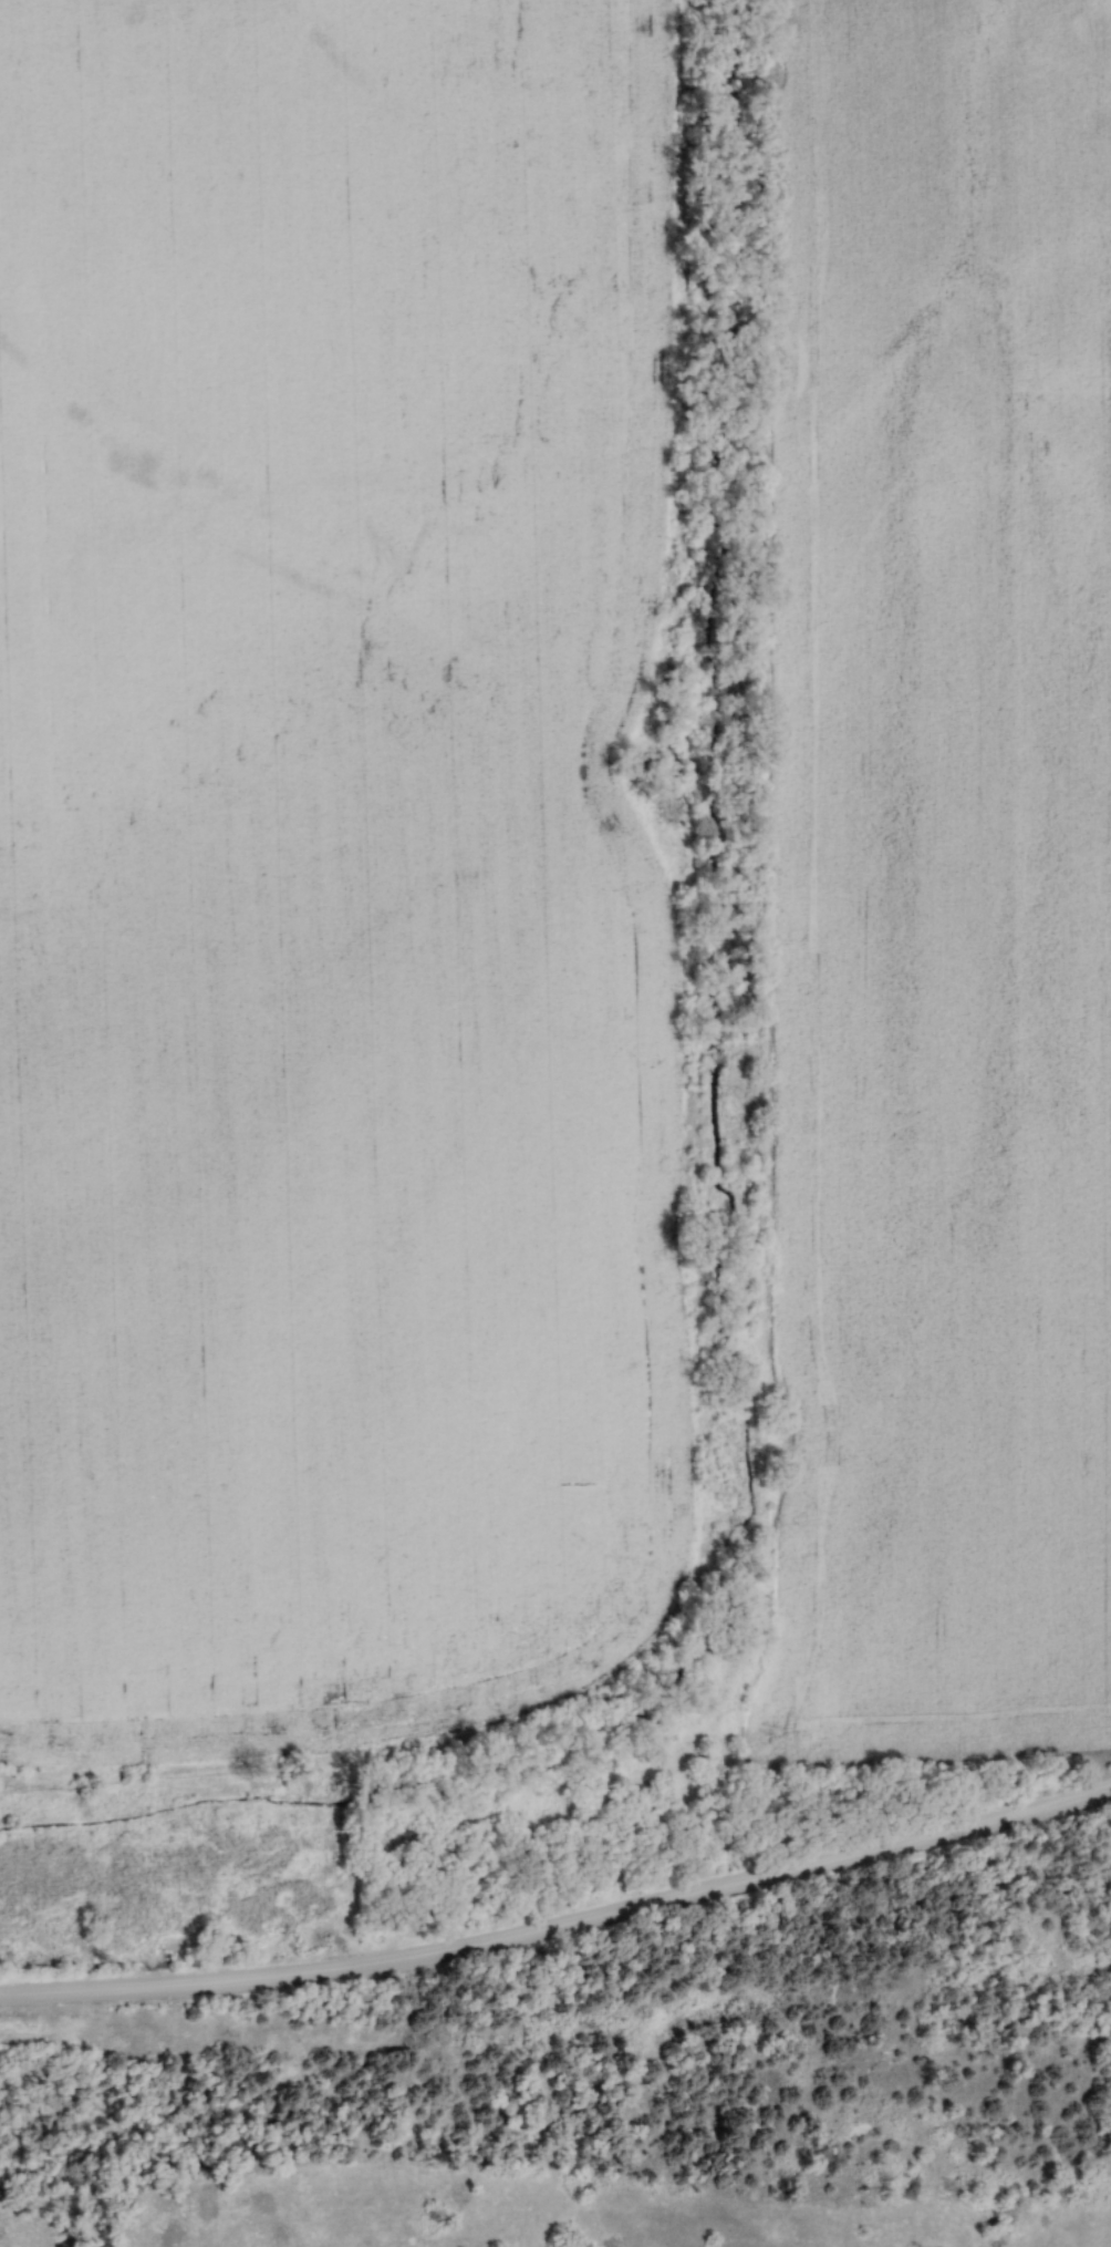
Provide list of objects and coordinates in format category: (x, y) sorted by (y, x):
road: (562, 1930)

